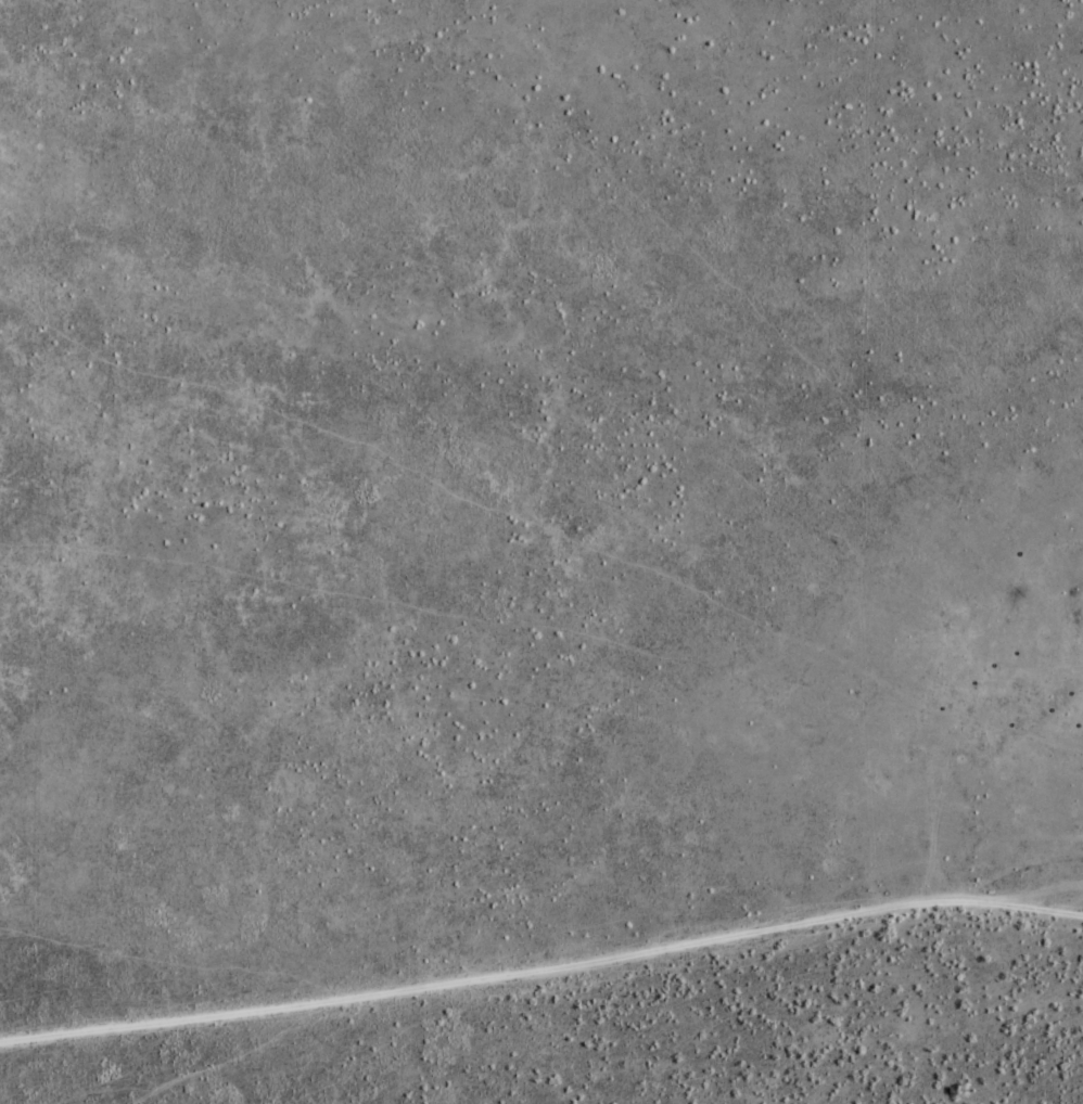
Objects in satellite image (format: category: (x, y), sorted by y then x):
road: (541, 974)

